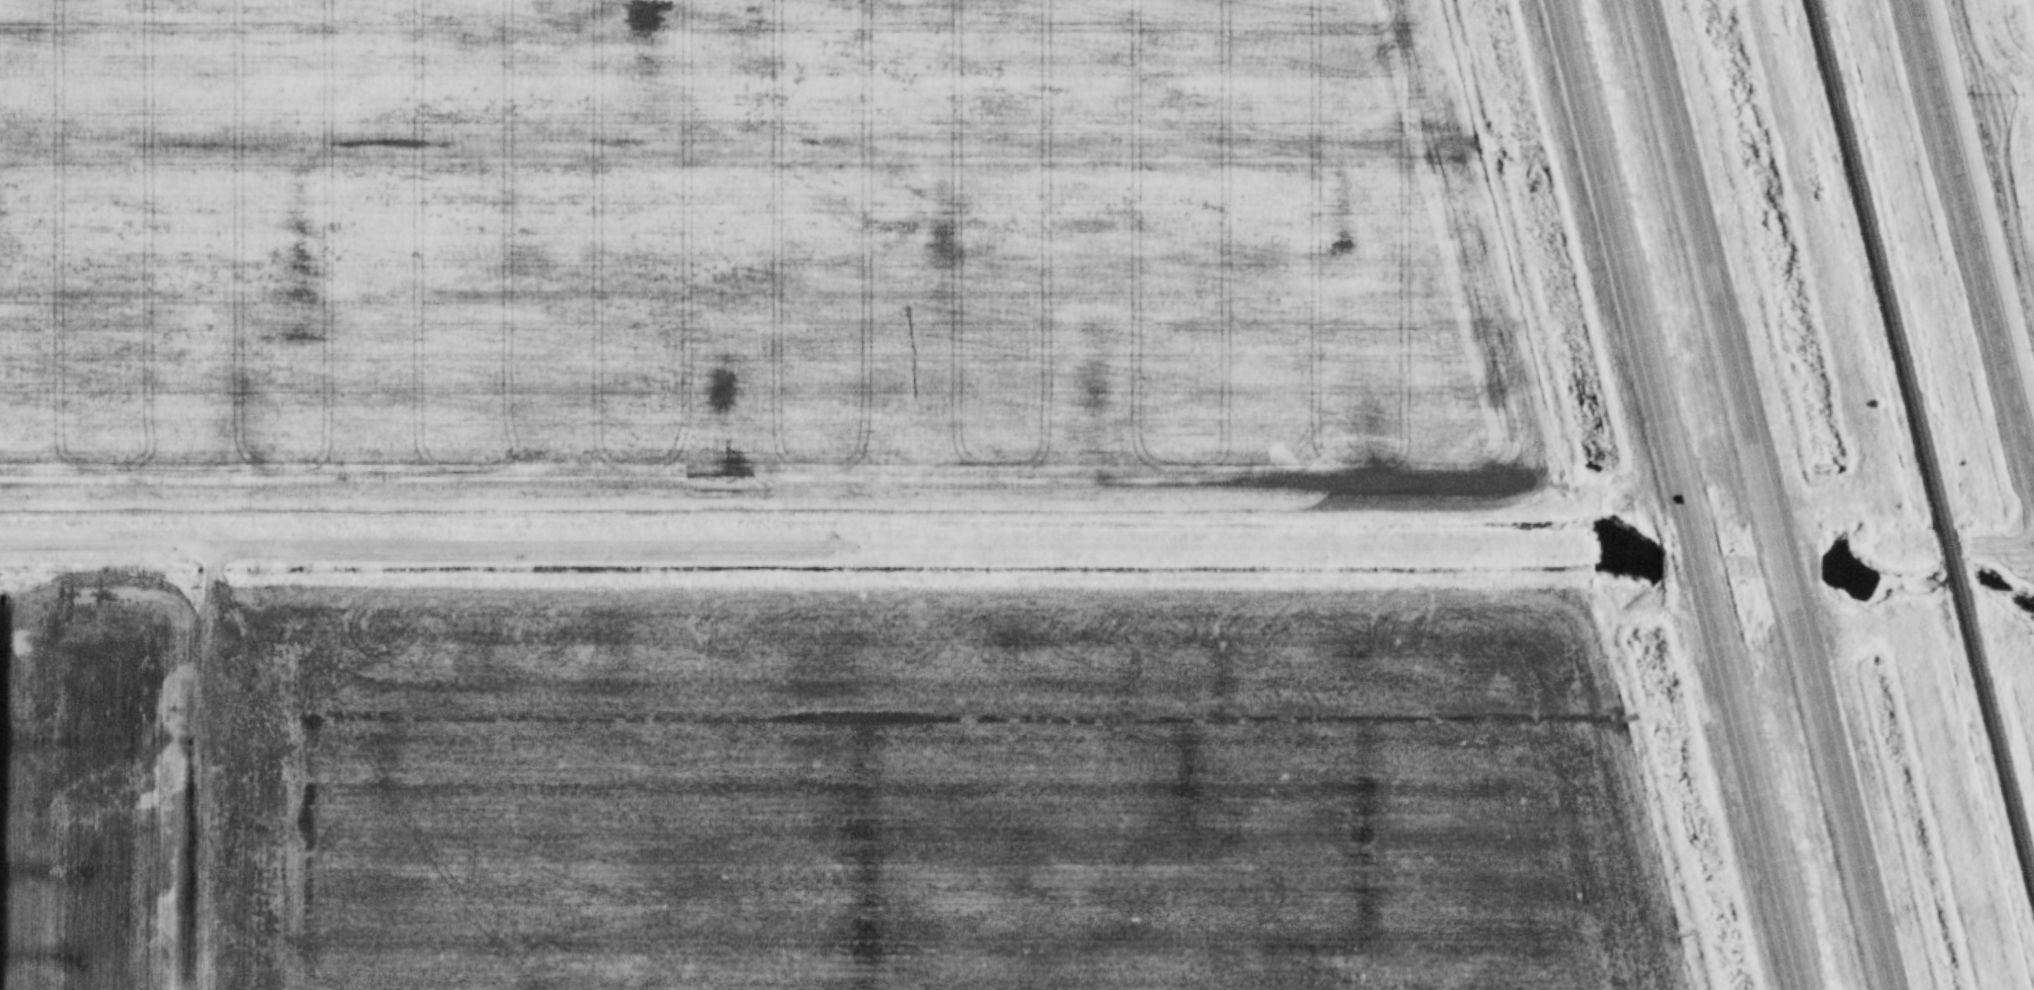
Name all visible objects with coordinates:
road: (1973, 227)
railway: (1919, 459)
road: (1691, 494)
road: (1765, 495)

